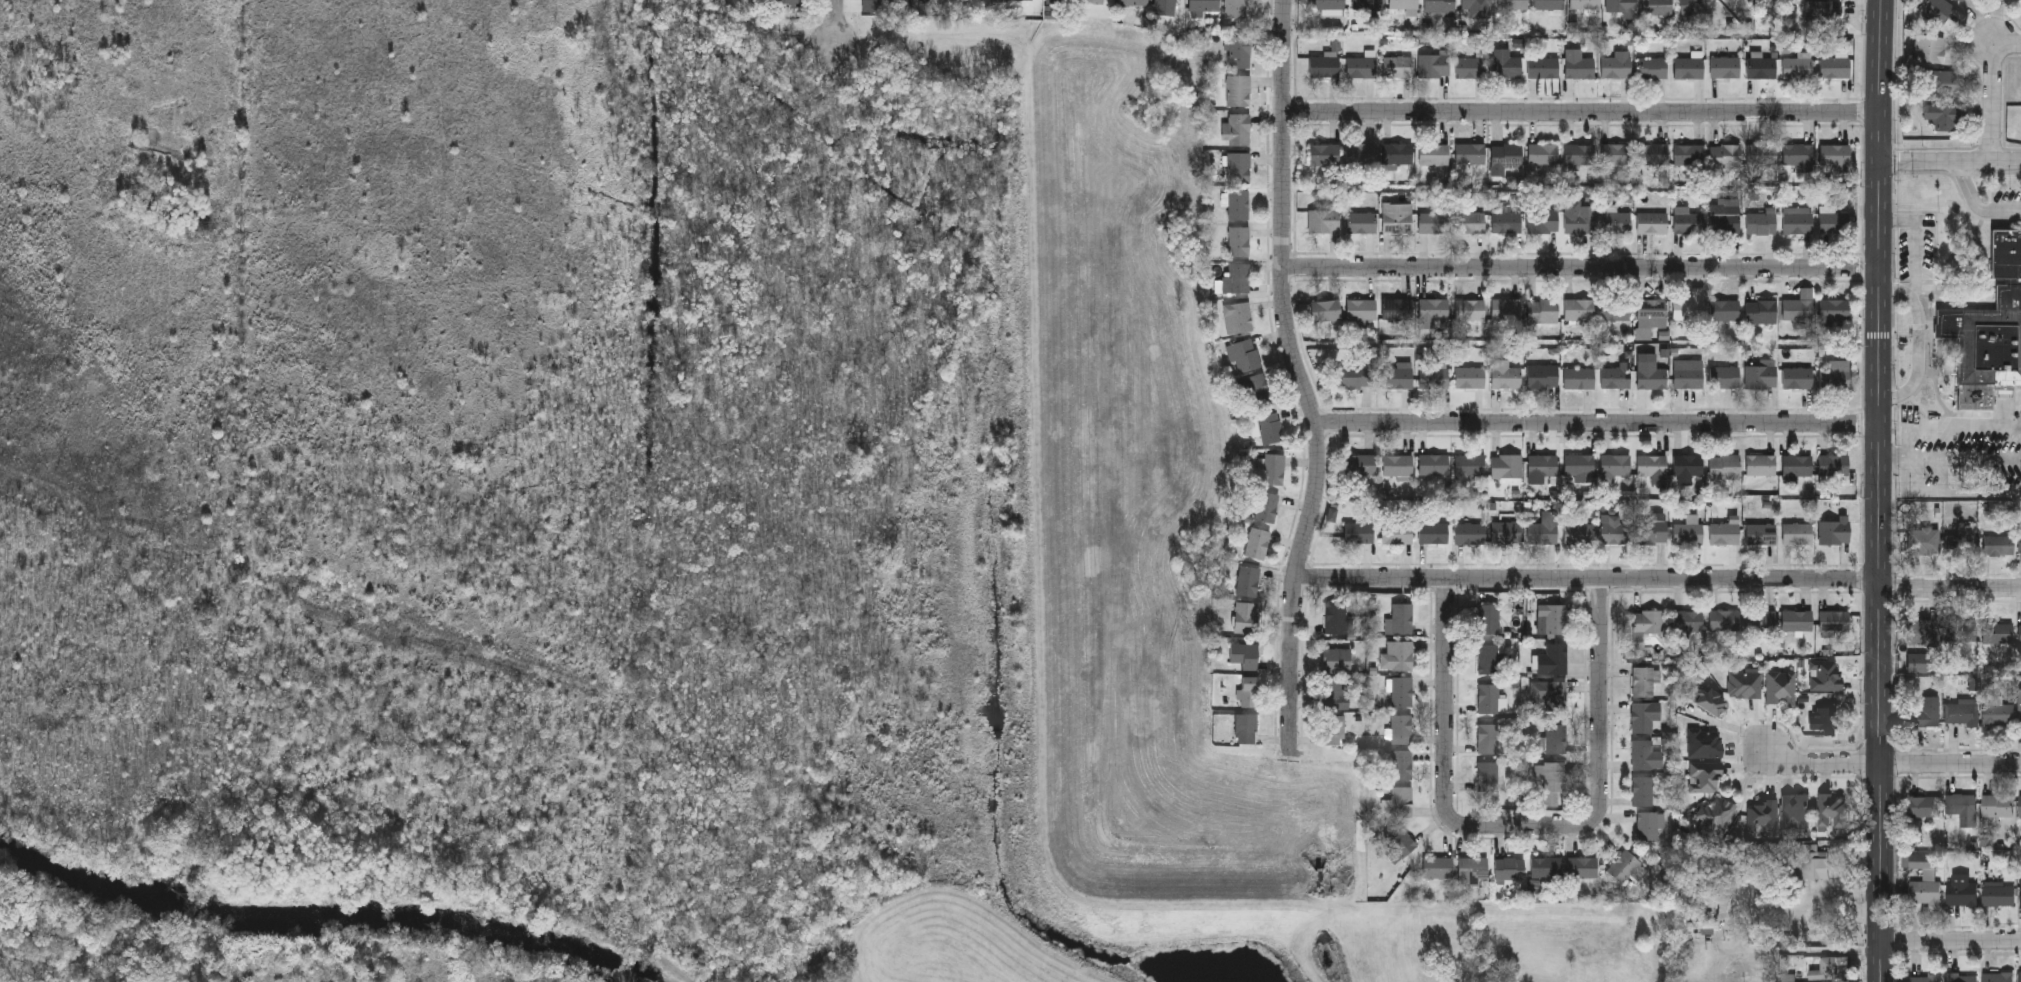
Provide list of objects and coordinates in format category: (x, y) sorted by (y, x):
building: (897, 1)
building: (1024, 1)
building: (1095, 1)
building: (1961, 1)
building: (788, 2)
building: (1060, 2)
building: (1133, 2)
building: (1329, 4)
building: (1367, 4)
building: (1404, 4)
building: (1476, 4)
building: (1512, 4)
building: (1549, 4)
building: (1585, 4)
building: (1204, 5)
building: (1621, 5)
building: (1440, 6)
building: (1695, 6)
building: (1166, 7)
building: (1657, 7)
building: (1236, 9)
building: (1934, 9)
building: (1821, 12)
road: (836, 21)
building: (1928, 47)
building: (1239, 51)
building: (1506, 63)
building: (1325, 65)
building: (1434, 65)
building: (1398, 66)
building: (1616, 66)
building: (1362, 67)
building: (1471, 67)
building: (1544, 67)
building: (1580, 67)
building: (1653, 67)
building: (1689, 67)
building: (1725, 67)
building: (1762, 67)
building: (1797, 67)
building: (1835, 67)
building: (1944, 81)
building: (1238, 90)
road: (1996, 94)
road: (1585, 113)
building: (1943, 115)
building: (1237, 129)
building: (1361, 152)
building: (1398, 152)
building: (1324, 153)
building: (1471, 153)
building: (1616, 153)
building: (1434, 154)
building: (1507, 154)
building: (1543, 154)
building: (1580, 154)
building: (1652, 154)
building: (1689, 154)
building: (1761, 154)
building: (1798, 154)
building: (1835, 154)
building: (1726, 155)
road: (1951, 161)
building: (1238, 167)
building: (1924, 197)
road: (1977, 202)
building: (1238, 204)
building: (1397, 217)
building: (1725, 218)
building: (1323, 219)
building: (1544, 220)
building: (1581, 220)
building: (1798, 220)
building: (1362, 221)
building: (1507, 221)
building: (1689, 221)
building: (1835, 221)
building: (1434, 222)
building: (1470, 222)
building: (1617, 222)
building: (1652, 222)
building: (1761, 222)
building: (1960, 224)
road: (1916, 238)
building: (1238, 240)
road: (1584, 266)
building: (1239, 277)
building: (1799, 305)
building: (1397, 308)
building: (1506, 308)
building: (1579, 308)
building: (1689, 308)
building: (1326, 309)
building: (1470, 309)
building: (1615, 309)
building: (1724, 309)
building: (1835, 309)
building: (1543, 310)
building: (1361, 311)
building: (1761, 311)
building: (1433, 312)
building: (1653, 312)
building: (1237, 316)
building: (1990, 332)
road: (1920, 341)
building: (1245, 353)
road: (1302, 369)
building: (1505, 374)
building: (1689, 374)
building: (1650, 375)
building: (1835, 375)
building: (1356, 376)
building: (1542, 376)
building: (1725, 376)
building: (1761, 376)
building: (1397, 377)
building: (1435, 377)
building: (1470, 377)
building: (1579, 377)
building: (1616, 377)
building: (1797, 377)
building: (1255, 388)
road: (1602, 424)
road: (1953, 425)
building: (1269, 427)
road: (1896, 455)
building: (1360, 464)
building: (1398, 464)
building: (1433, 464)
building: (1543, 464)
building: (1579, 464)
building: (1688, 464)
building: (1761, 464)
building: (1834, 464)
building: (1470, 465)
building: (1506, 465)
building: (1614, 466)
building: (1651, 466)
building: (1725, 466)
building: (1797, 466)
building: (1273, 468)
road: (1910, 475)
road: (1882, 491)
road: (1969, 493)
building: (1266, 506)
building: (1543, 528)
building: (1615, 529)
building: (1652, 530)
building: (1835, 530)
building: (1506, 531)
building: (1469, 532)
building: (1359, 533)
building: (1398, 533)
building: (1433, 533)
building: (1579, 533)
building: (1688, 533)
building: (1724, 533)
building: (1761, 533)
building: (1798, 533)
building: (2020, 540)
building: (1925, 541)
building: (1961, 541)
building: (1257, 543)
building: (1998, 545)
park: (977, 546)
road: (1660, 579)
building: (1248, 581)
building: (1245, 617)
building: (1402, 618)
building: (1488, 618)
building: (1552, 618)
building: (1688, 619)
building: (1725, 619)
building: (1797, 619)
building: (1337, 620)
building: (1649, 620)
building: (1761, 620)
building: (1834, 621)
building: (1960, 631)
building: (2020, 631)
building: (1921, 632)
building: (2001, 635)
building: (1244, 654)
building: (1397, 657)
building: (1489, 658)
building: (1336, 659)
building: (1554, 659)
building: (1827, 675)
building: (1645, 679)
building: (1745, 684)
building: (1781, 687)
building: (1249, 691)
building: (1402, 691)
building: (1335, 694)
building: (1556, 696)
building: (1488, 698)
building: (1708, 699)
building: (2020, 708)
building: (1961, 712)
building: (1926, 714)
building: (1998, 714)
building: (1644, 716)
building: (1825, 718)
building: (1246, 728)
building: (1401, 729)
building: (1334, 730)
road: (1604, 733)
road: (1449, 735)
building: (1487, 738)
building: (1556, 738)
building: (1705, 743)
building: (1646, 754)
road: (1951, 764)
building: (1401, 765)
road: (1820, 766)
building: (1706, 776)
building: (1487, 777)
building: (1553, 782)
road: (1746, 790)
building: (1643, 791)
building: (1401, 801)
building: (1997, 807)
building: (2020, 807)
building: (1924, 808)
building: (1961, 808)
building: (1832, 810)
building: (1795, 811)
building: (1763, 815)
building: (1715, 816)
building: (1649, 825)
building: (1400, 840)
building: (1811, 863)
building: (1437, 867)
building: (1509, 867)
building: (1546, 867)
building: (1581, 867)
building: (1624, 867)
building: (1472, 870)
building: (2020, 893)
building: (1924, 894)
building: (1961, 895)
building: (1998, 896)
building: (1814, 921)
building: (1701, 923)
road: (1950, 940)
building: (1831, 968)
building: (2020, 977)
building: (1960, 978)
building: (1997, 978)
building: (1917, 979)

